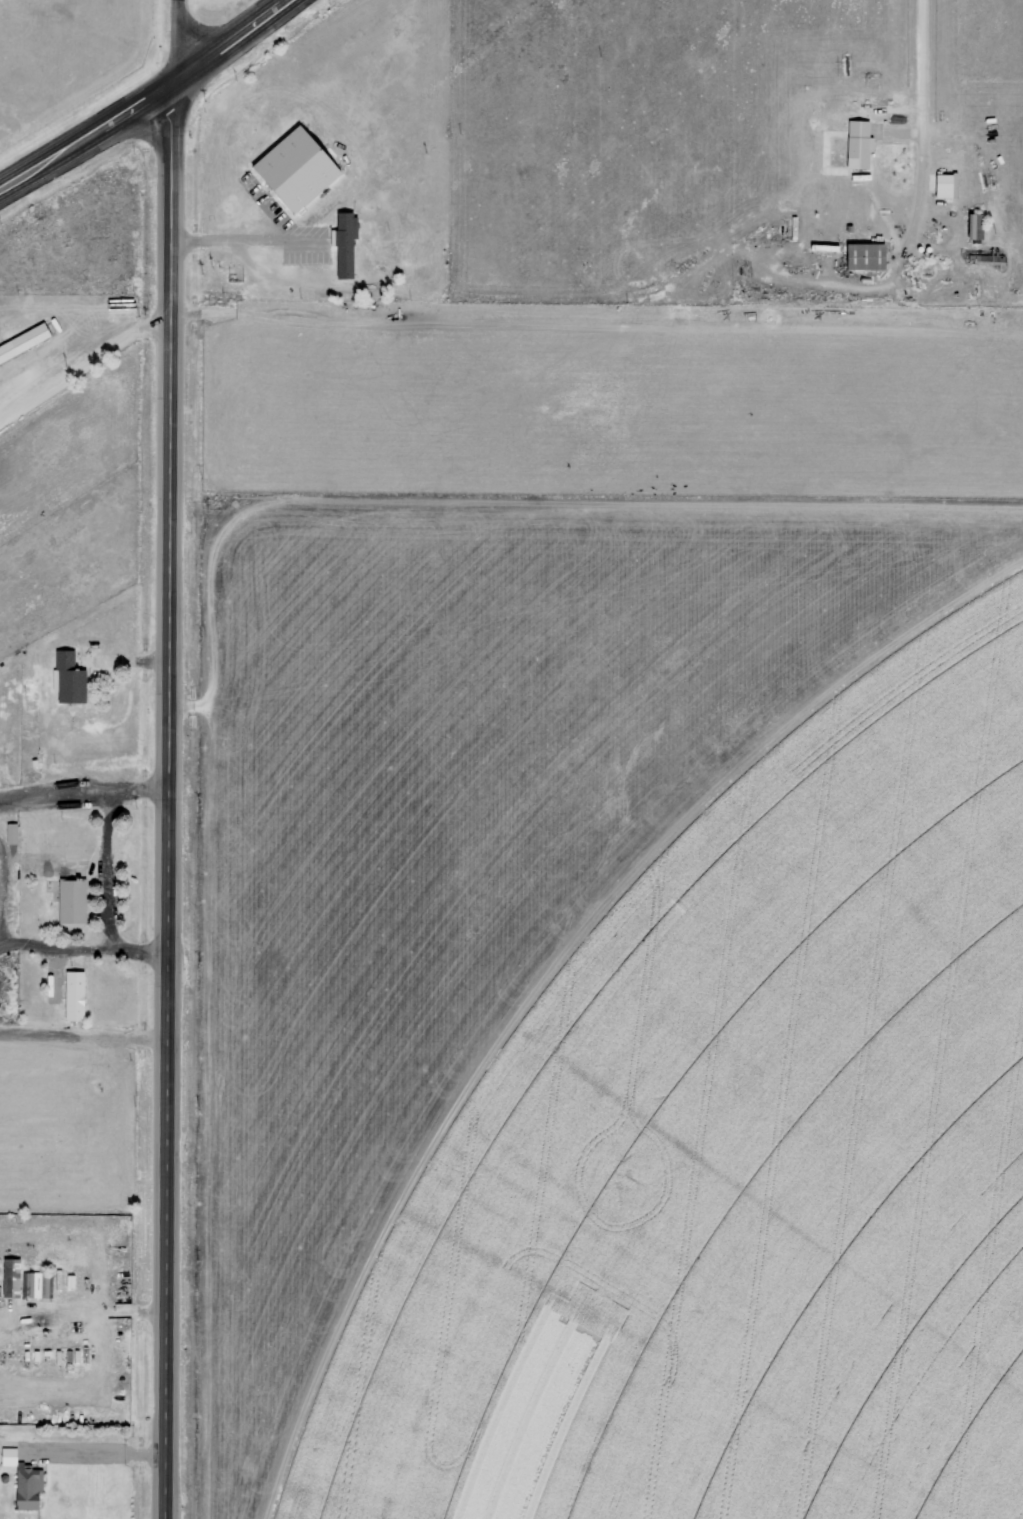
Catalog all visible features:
road: (174, 41)
road: (145, 97)
road: (923, 129)
building: (844, 147)
building: (295, 168)
building: (941, 185)
road: (264, 210)
building: (972, 225)
road: (244, 239)
building: (345, 244)
building: (865, 253)
building: (23, 342)
building: (68, 678)
road: (170, 800)
building: (47, 870)
building: (70, 901)
building: (71, 995)
building: (9, 1278)
building: (7, 1456)
building: (25, 1487)

